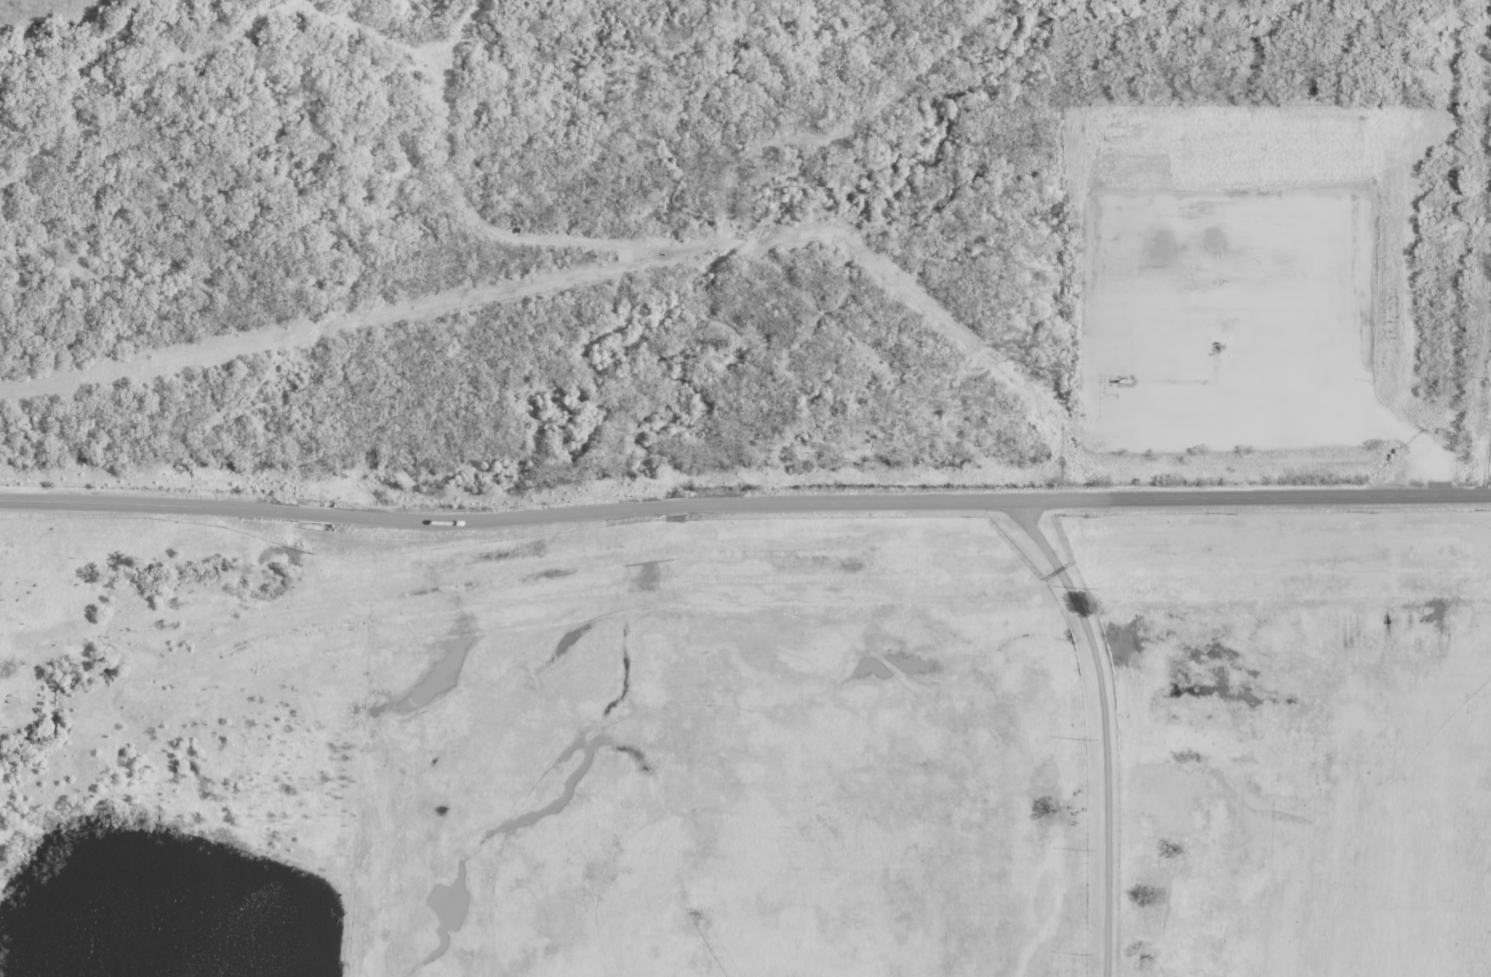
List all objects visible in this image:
road: (1087, 500)
road: (146, 504)
road: (673, 506)
road: (312, 513)
road: (495, 518)
road: (1104, 725)

